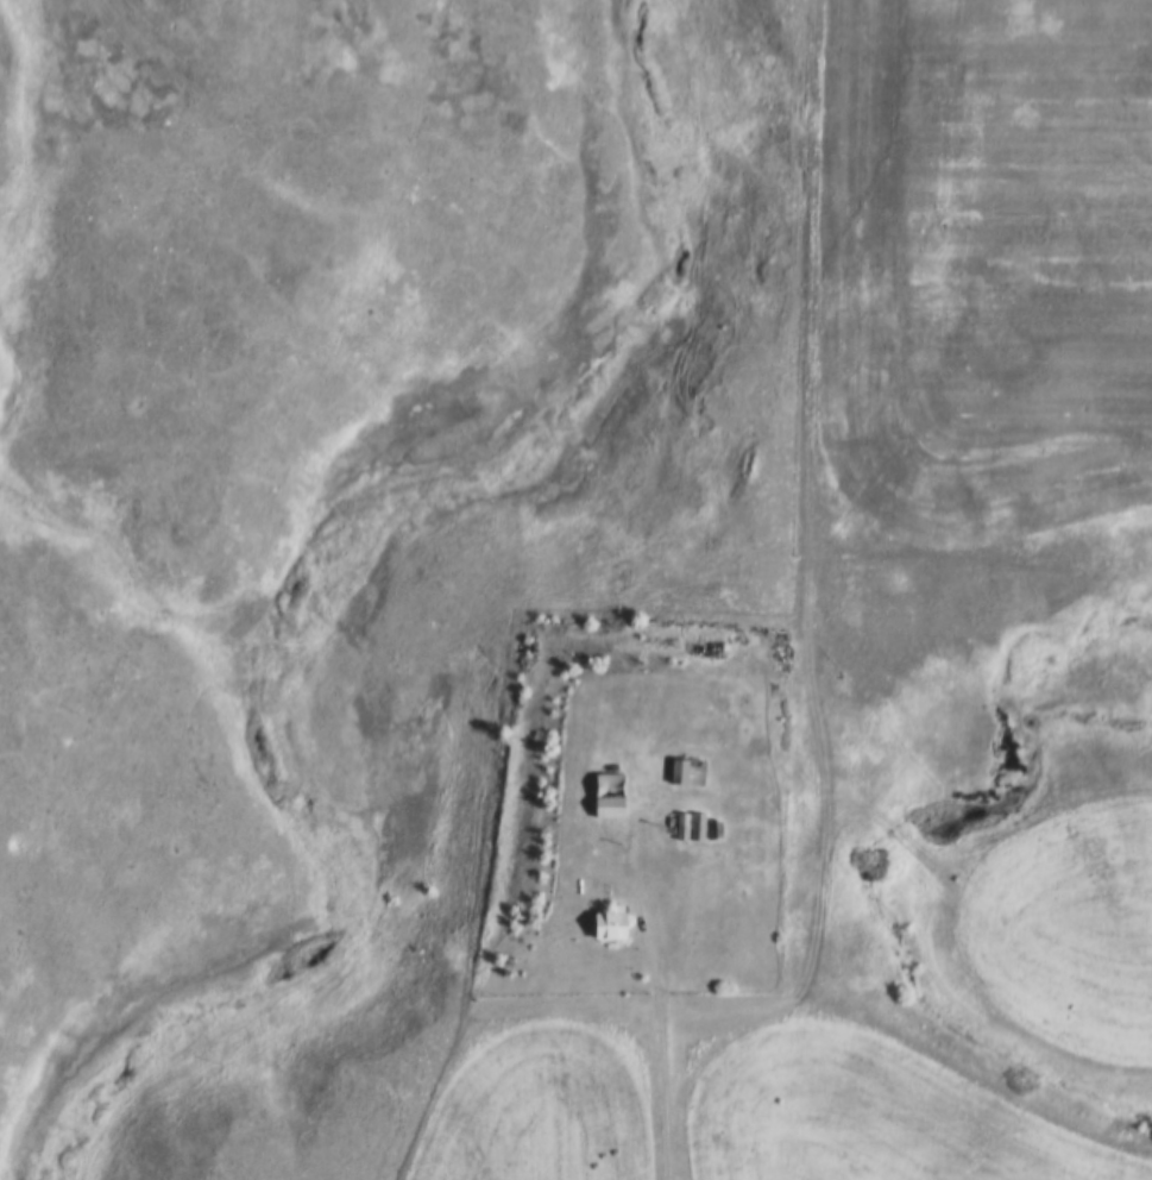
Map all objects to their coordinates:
building: (693, 766)
building: (616, 779)
building: (616, 801)
building: (688, 821)
building: (703, 821)
building: (722, 824)
road: (661, 873)
building: (616, 918)
road: (671, 1069)

